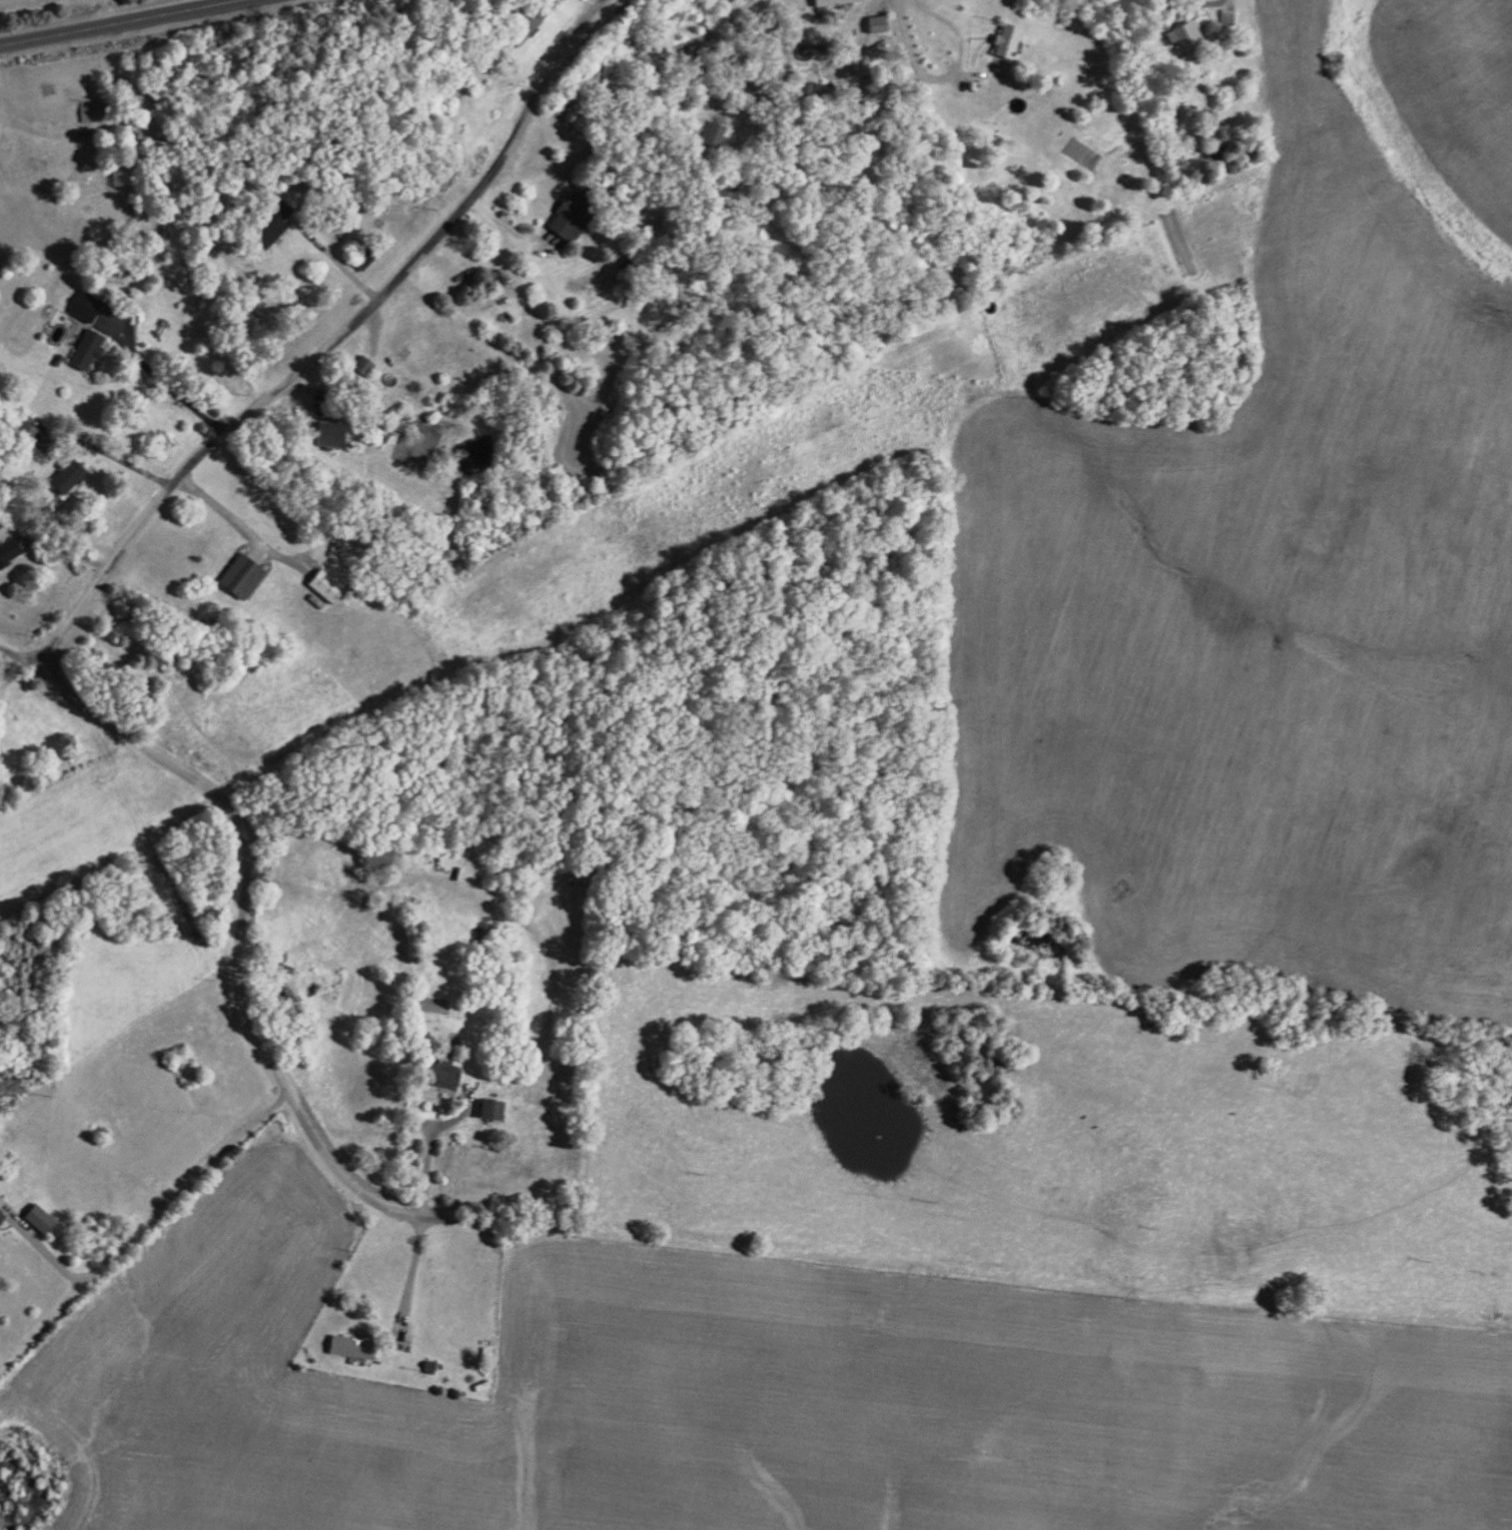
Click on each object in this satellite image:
building: (834, 1)
road: (125, 24)
building: (874, 24)
building: (522, 26)
building: (1182, 34)
building: (1003, 41)
road: (952, 77)
road: (35, 133)
building: (713, 134)
building: (567, 219)
building: (272, 226)
road: (343, 265)
building: (83, 306)
road: (334, 345)
building: (86, 350)
building: (361, 366)
road: (159, 376)
building: (326, 431)
building: (25, 436)
road: (122, 459)
building: (66, 474)
road: (240, 524)
building: (9, 554)
building: (237, 577)
building: (324, 587)
road: (240, 930)
building: (487, 1110)
road: (431, 1147)
road: (155, 1210)
building: (1, 1214)
building: (37, 1218)
road: (412, 1274)
building: (348, 1346)

